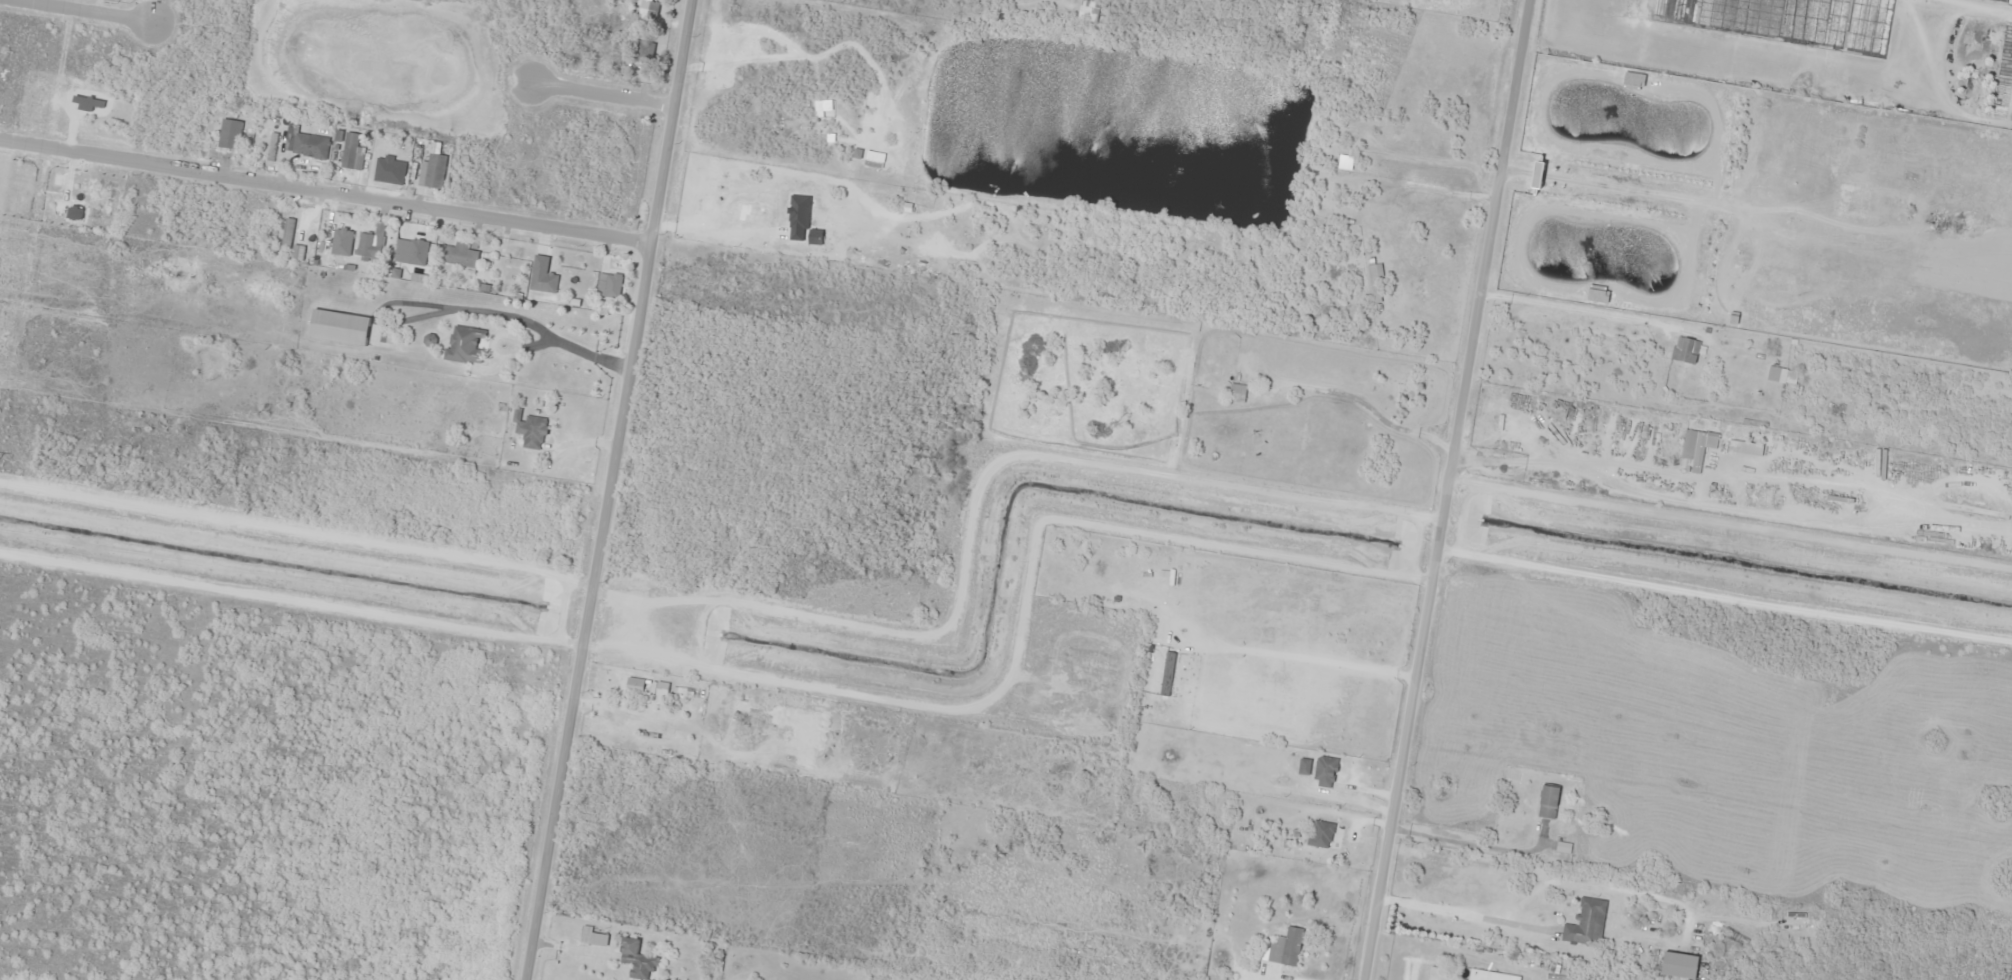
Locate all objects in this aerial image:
building: (2004, 0)
building: (646, 9)
building: (1089, 10)
road: (99, 13)
building: (643, 51)
building: (230, 133)
building: (308, 145)
building: (352, 151)
building: (433, 171)
road: (328, 190)
building: (924, 198)
building: (1852, 200)
building: (757, 214)
building: (371, 242)
building: (411, 251)
building: (460, 255)
building: (544, 282)
building: (609, 285)
building: (339, 327)
building: (465, 344)
building: (1686, 350)
building: (1945, 351)
building: (1782, 375)
building: (532, 432)
building: (1697, 447)
road: (615, 490)
road: (1418, 490)
building: (1305, 766)
building: (1325, 772)
building: (1549, 802)
building: (1321, 834)
building: (1563, 847)
building: (1586, 923)
building: (593, 937)
building: (1285, 948)
building: (1247, 949)
building: (637, 960)
building: (1680, 966)
building: (1441, 974)

